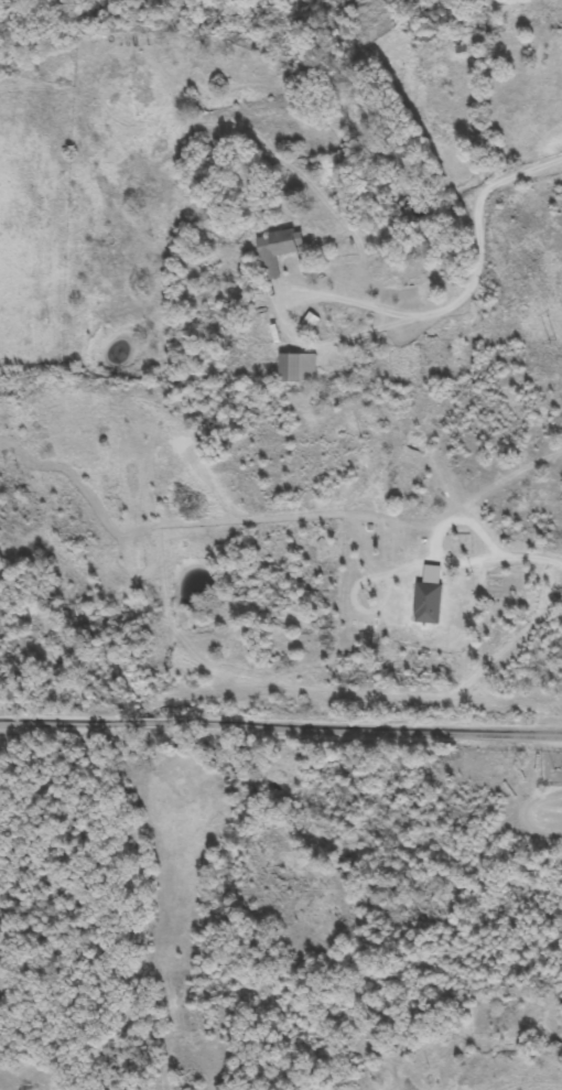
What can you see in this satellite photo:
building: (278, 249)
building: (309, 322)
road: (302, 326)
building: (298, 367)
road: (281, 724)

